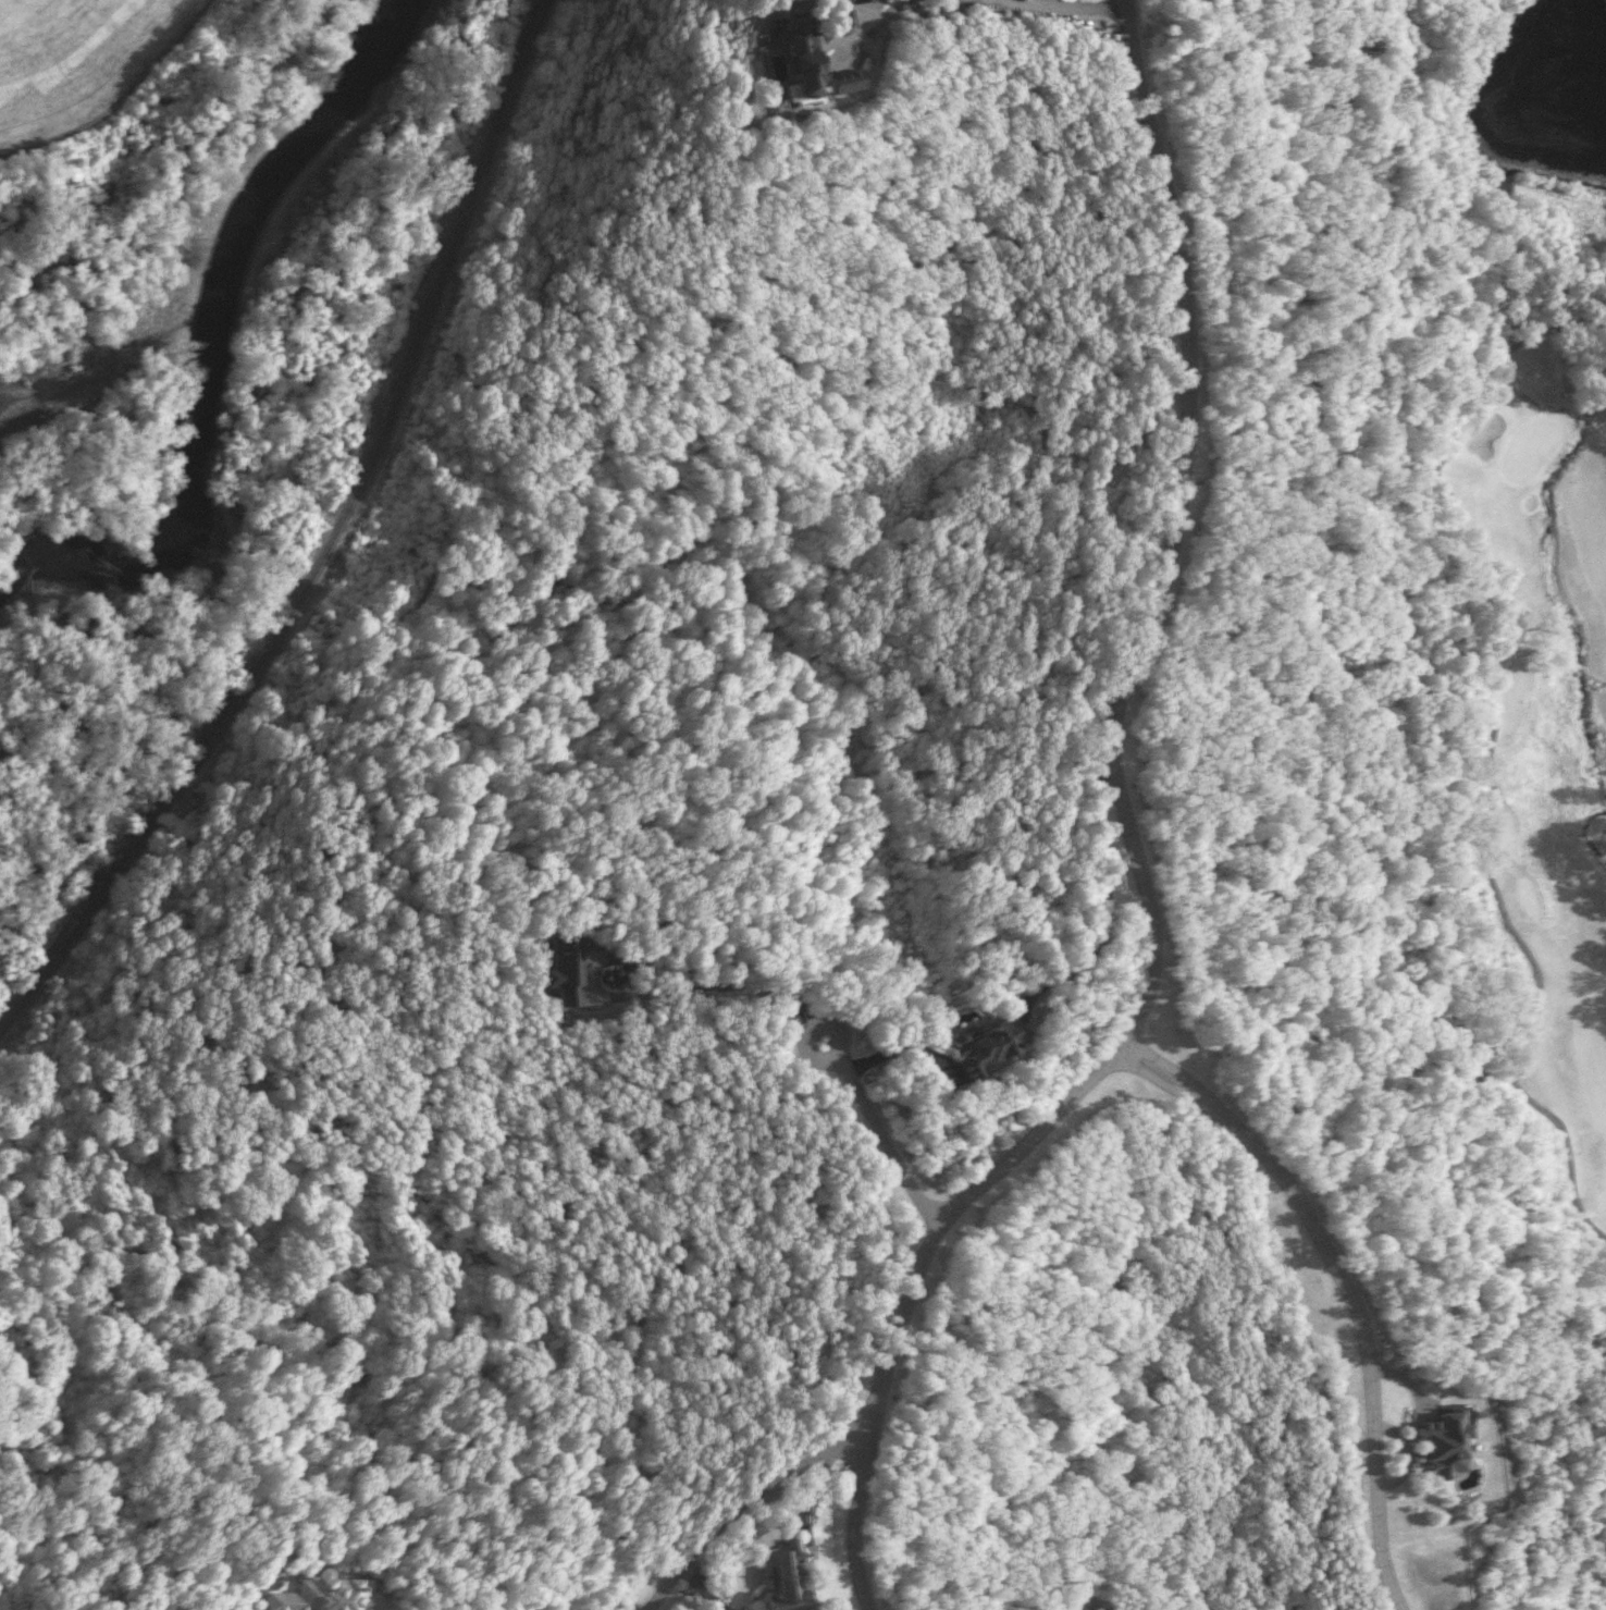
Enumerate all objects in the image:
building: (861, 0)
road: (1066, 5)
road: (888, 11)
crop: (70, 49)
building: (810, 65)
railway: (326, 545)
road: (1505, 616)
park: (1540, 722)
road: (1128, 845)
road: (646, 960)
road: (840, 1033)
building: (992, 1043)
road: (1541, 1107)
road: (887, 1136)
road: (1344, 1286)
building: (1438, 1445)
road: (745, 1507)
building: (782, 1577)
building: (328, 1595)
road: (510, 1609)

